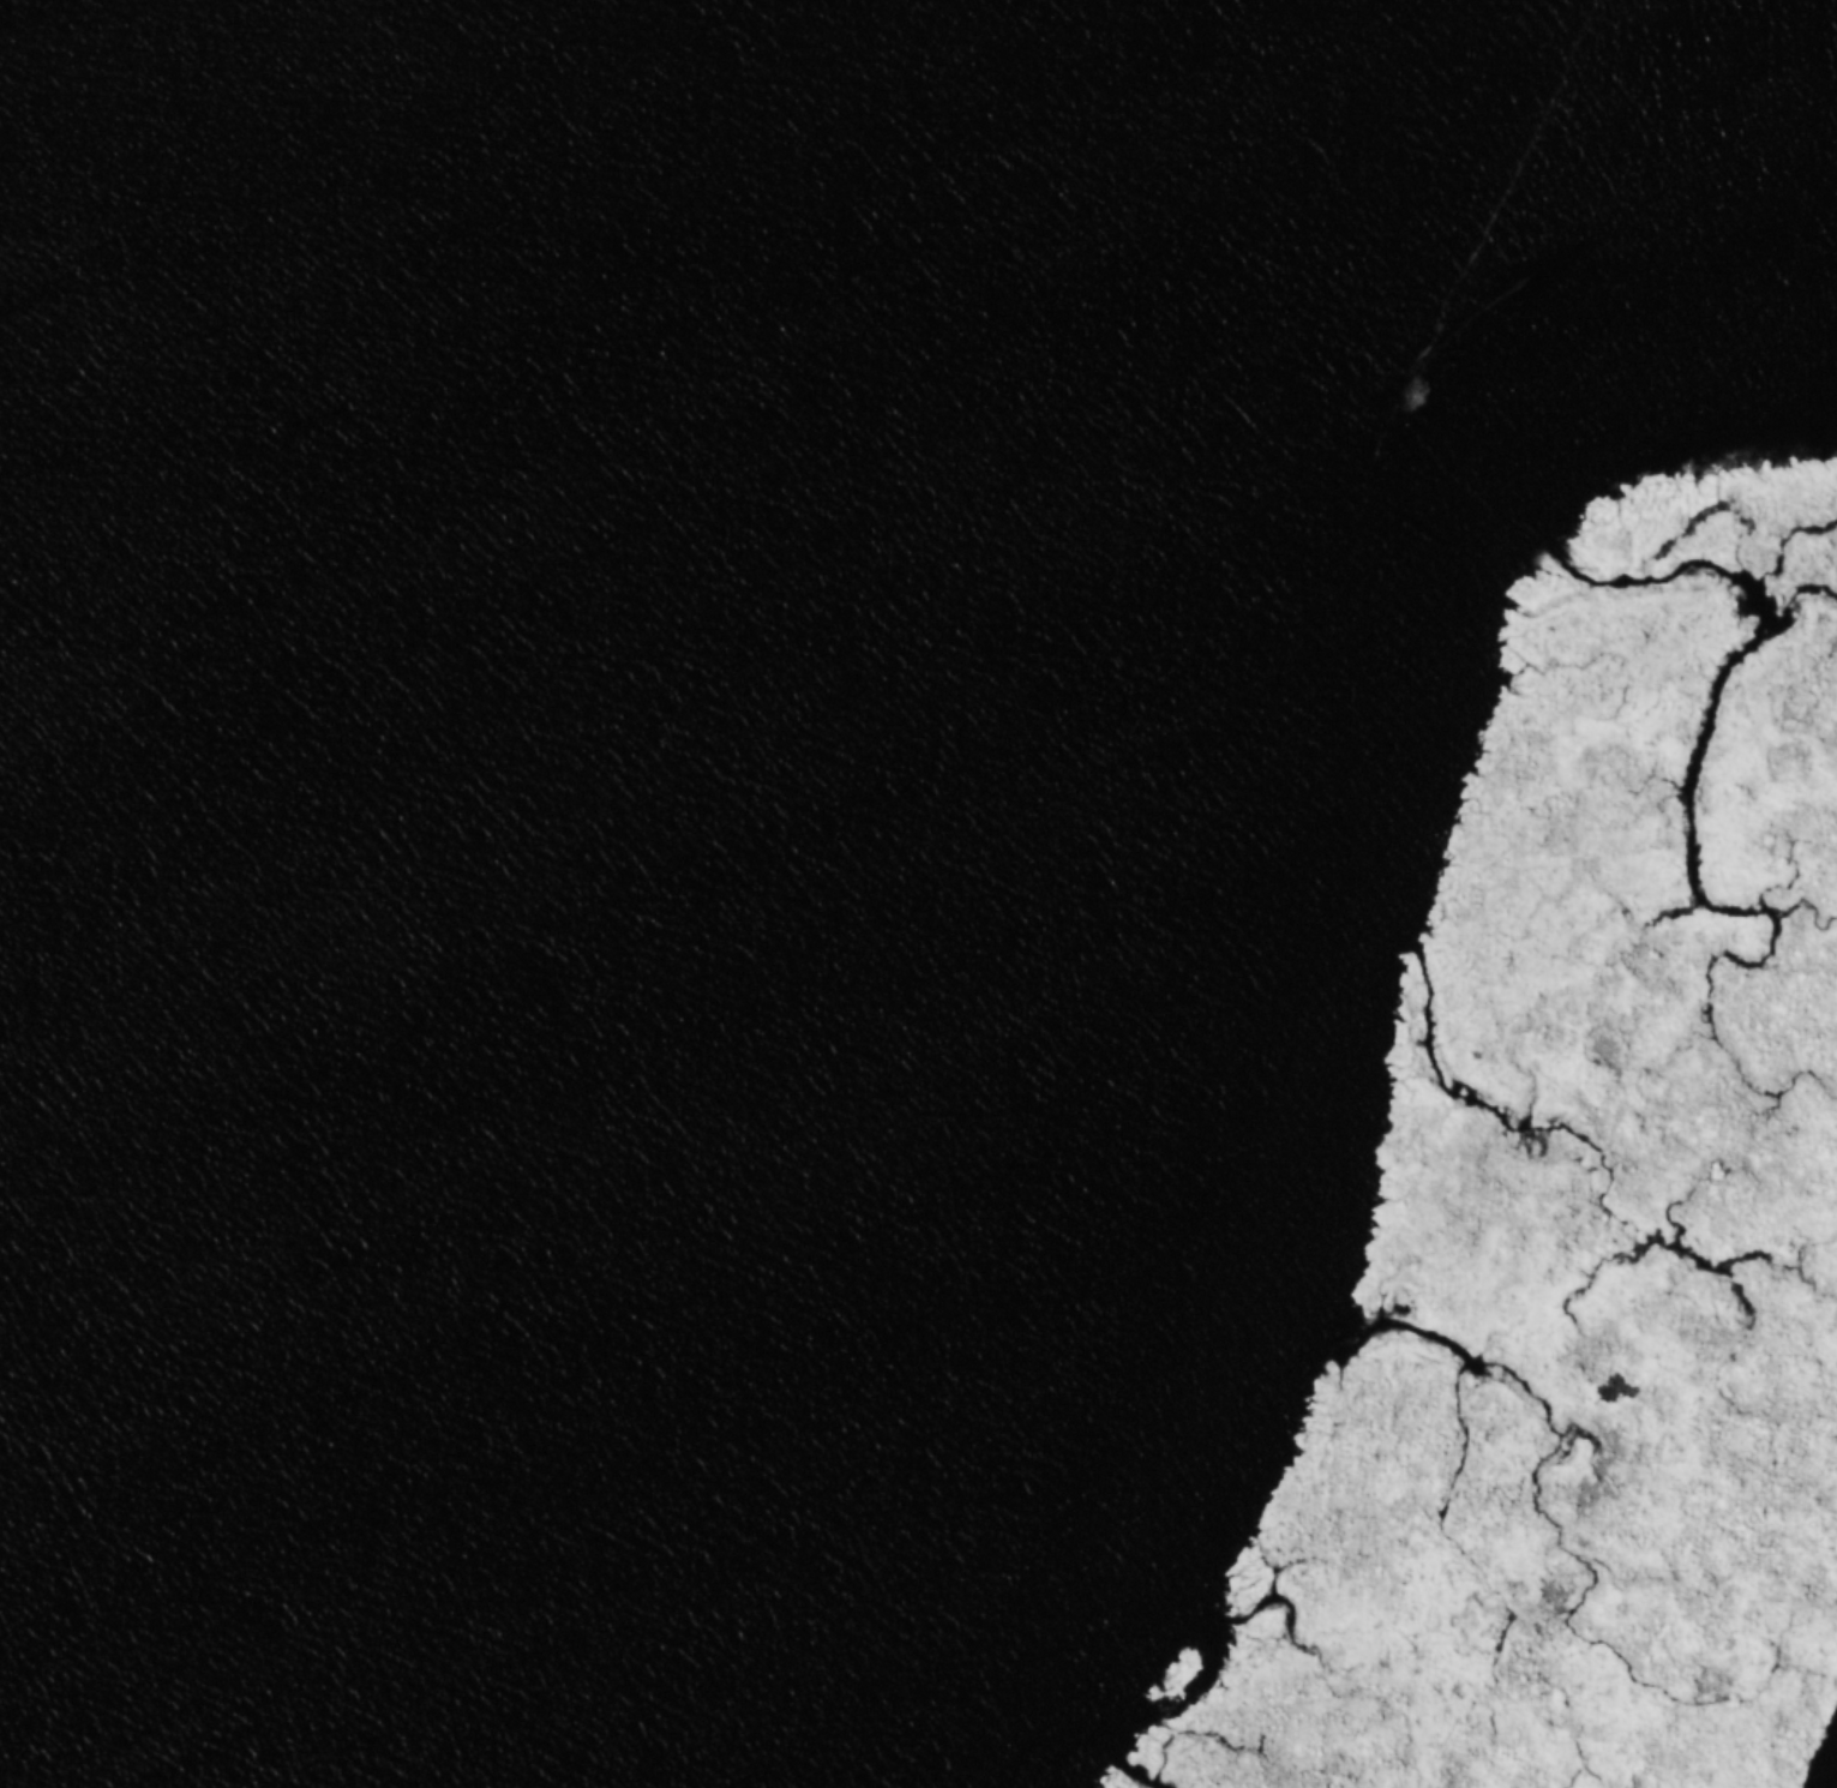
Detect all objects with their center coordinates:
river: (707, 11)
river: (395, 755)

